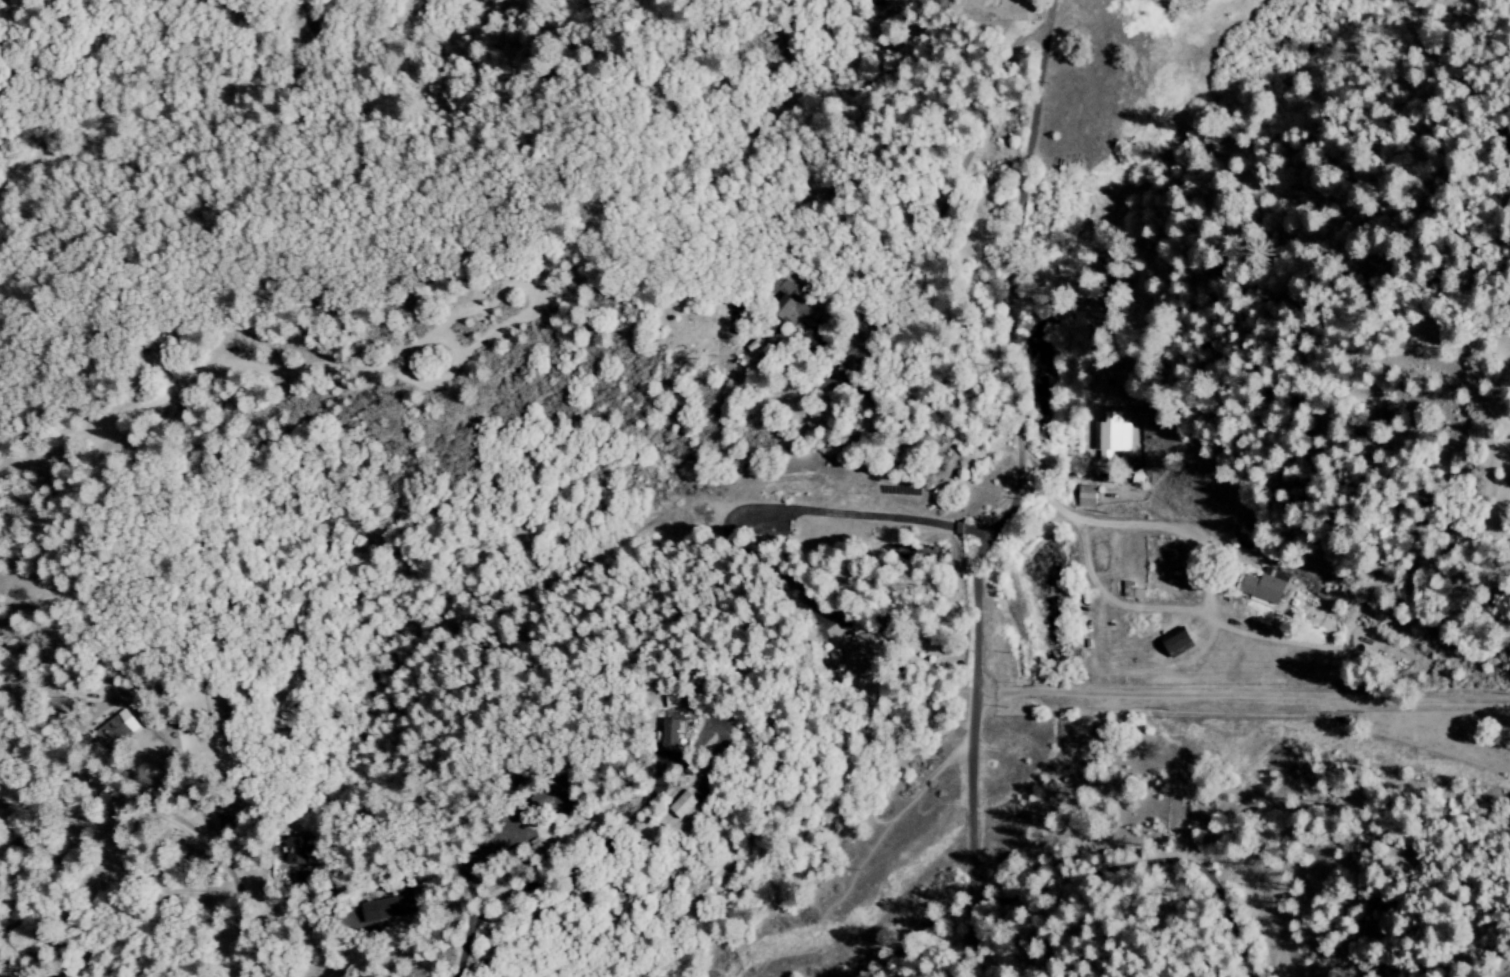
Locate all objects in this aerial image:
building: (908, 3)
road: (940, 247)
building: (789, 306)
road: (1017, 459)
building: (1088, 496)
road: (787, 510)
road: (1121, 525)
building: (1264, 588)
building: (1133, 591)
building: (1179, 642)
building: (864, 654)
road: (1240, 696)
building: (114, 731)
building: (673, 734)
road: (162, 742)
building: (682, 804)
building: (299, 849)
road: (240, 910)
building: (391, 910)
road: (472, 926)
road: (942, 943)

